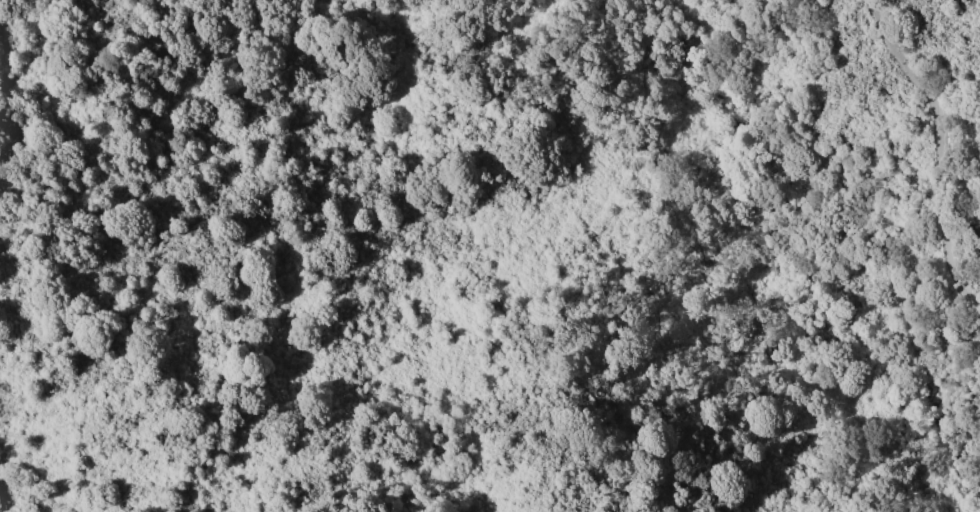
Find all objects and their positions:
road: (941, 152)
road: (705, 271)

